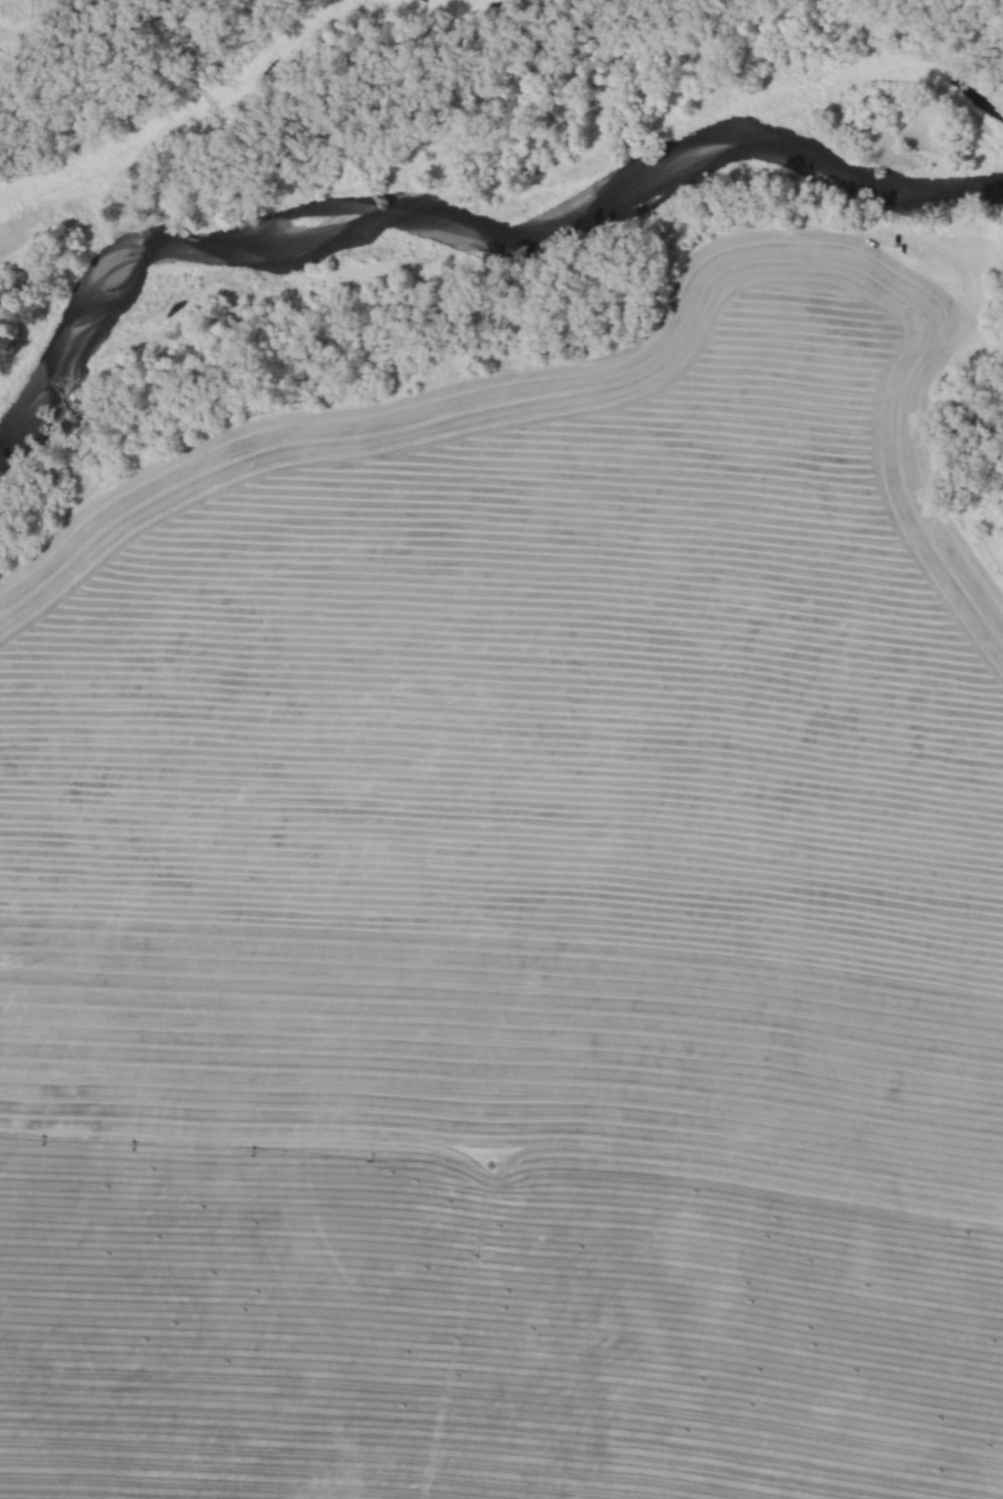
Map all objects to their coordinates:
river: (456, 235)

